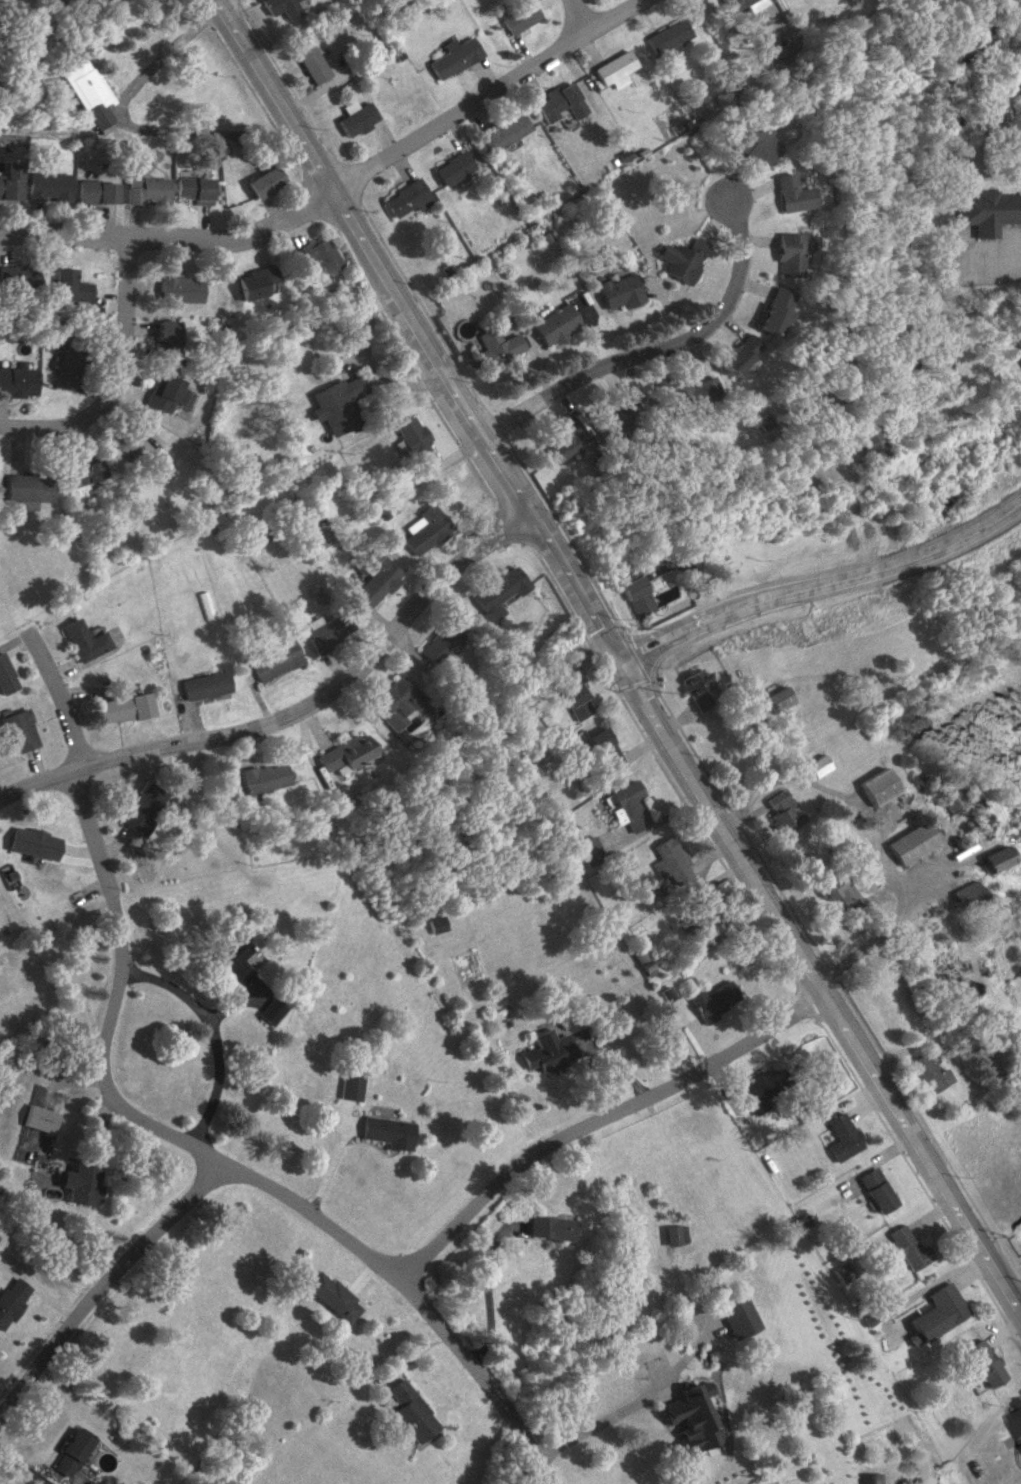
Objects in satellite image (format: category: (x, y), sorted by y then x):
building: (737, 6)
building: (279, 7)
building: (516, 16)
road: (574, 16)
building: (664, 36)
building: (451, 56)
building: (307, 63)
building: (611, 69)
building: (85, 90)
road: (481, 94)
building: (557, 102)
building: (351, 117)
road: (128, 126)
building: (501, 131)
building: (751, 144)
building: (451, 167)
building: (10, 180)
building: (262, 181)
building: (48, 186)
building: (193, 189)
building: (146, 190)
building: (96, 191)
building: (789, 193)
building: (403, 198)
building: (985, 210)
road: (170, 236)
road: (988, 248)
building: (319, 253)
building: (786, 253)
building: (679, 258)
building: (18, 275)
building: (254, 282)
building: (70, 286)
building: (177, 289)
building: (617, 291)
building: (771, 310)
building: (550, 324)
road: (414, 332)
building: (165, 339)
building: (1017, 343)
building: (493, 346)
road: (655, 349)
building: (735, 353)
building: (68, 365)
road: (119, 375)
building: (18, 381)
building: (687, 389)
building: (164, 393)
building: (334, 403)
building: (616, 412)
building: (129, 437)
building: (408, 439)
building: (560, 439)
building: (865, 440)
building: (84, 471)
building: (30, 487)
building: (421, 530)
building: (258, 534)
building: (375, 579)
road: (823, 584)
building: (496, 592)
building: (637, 596)
building: (324, 632)
building: (83, 640)
building: (439, 641)
building: (274, 660)
traffic signals: (620, 662)
building: (5, 677)
building: (204, 685)
building: (699, 688)
building: (780, 699)
road: (58, 701)
building: (573, 701)
building: (123, 707)
road: (291, 709)
building: (17, 730)
building: (604, 751)
building: (344, 752)
building: (818, 765)
building: (263, 777)
building: (878, 786)
building: (625, 805)
building: (141, 809)
building: (782, 811)
building: (1016, 830)
building: (31, 842)
building: (911, 842)
building: (587, 849)
building: (992, 858)
building: (672, 861)
building: (838, 891)
building: (964, 895)
building: (436, 924)
building: (712, 924)
road: (873, 934)
building: (232, 959)
road: (819, 989)
building: (713, 1000)
building: (269, 1011)
road: (214, 1034)
building: (549, 1051)
building: (928, 1073)
building: (349, 1086)
building: (762, 1089)
building: (40, 1118)
road: (599, 1121)
building: (387, 1132)
building: (841, 1137)
road: (221, 1165)
building: (81, 1183)
building: (875, 1190)
building: (547, 1228)
building: (674, 1235)
building: (904, 1247)
road: (103, 1281)
road: (485, 1290)
building: (10, 1296)
building: (330, 1296)
road: (920, 1296)
building: (736, 1316)
building: (941, 1316)
building: (981, 1362)
building: (702, 1388)
building: (406, 1411)
building: (1015, 1412)
building: (687, 1417)
road: (599, 1420)
building: (69, 1451)
road: (21, 1468)
building: (867, 1478)

